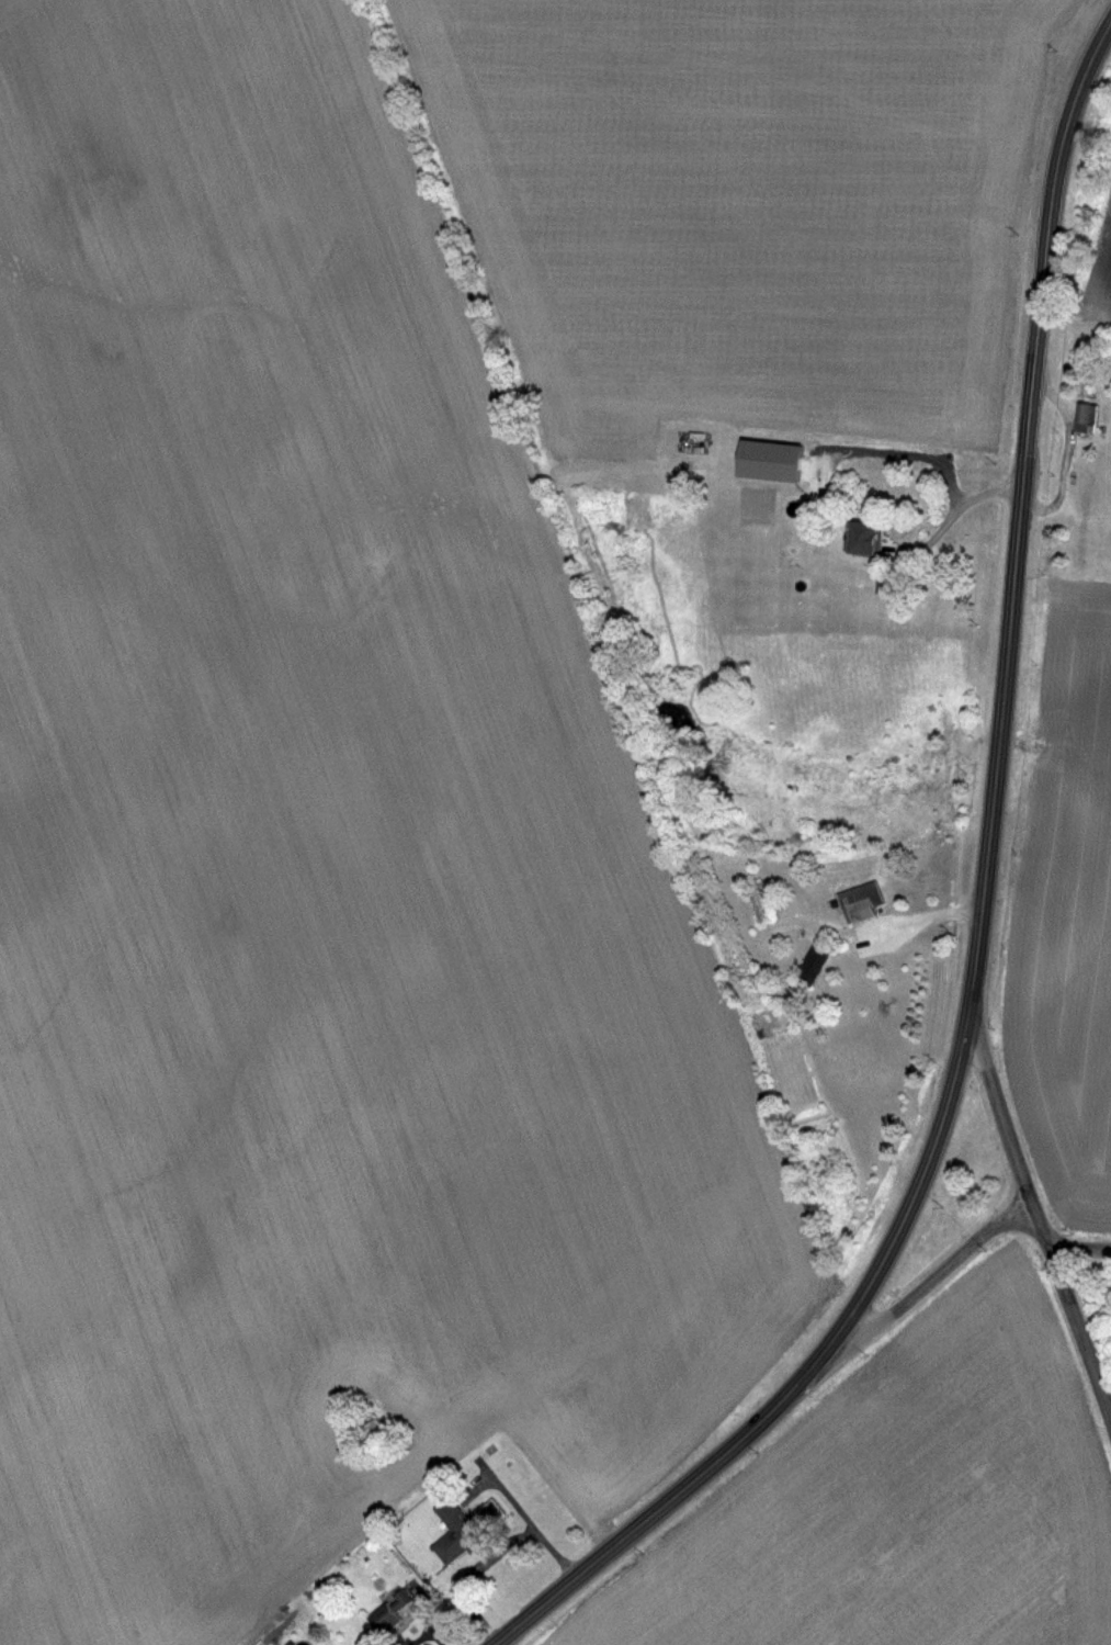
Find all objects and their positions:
building: (1081, 418)
road: (959, 507)
building: (960, 551)
building: (753, 899)
building: (858, 902)
road: (979, 912)
road: (882, 928)
building: (807, 962)
road: (1010, 1141)
road: (1080, 1241)
road: (953, 1260)
road: (1080, 1327)
building: (367, 1429)
building: (487, 1513)
building: (453, 1540)
road: (492, 1555)
building: (377, 1619)

